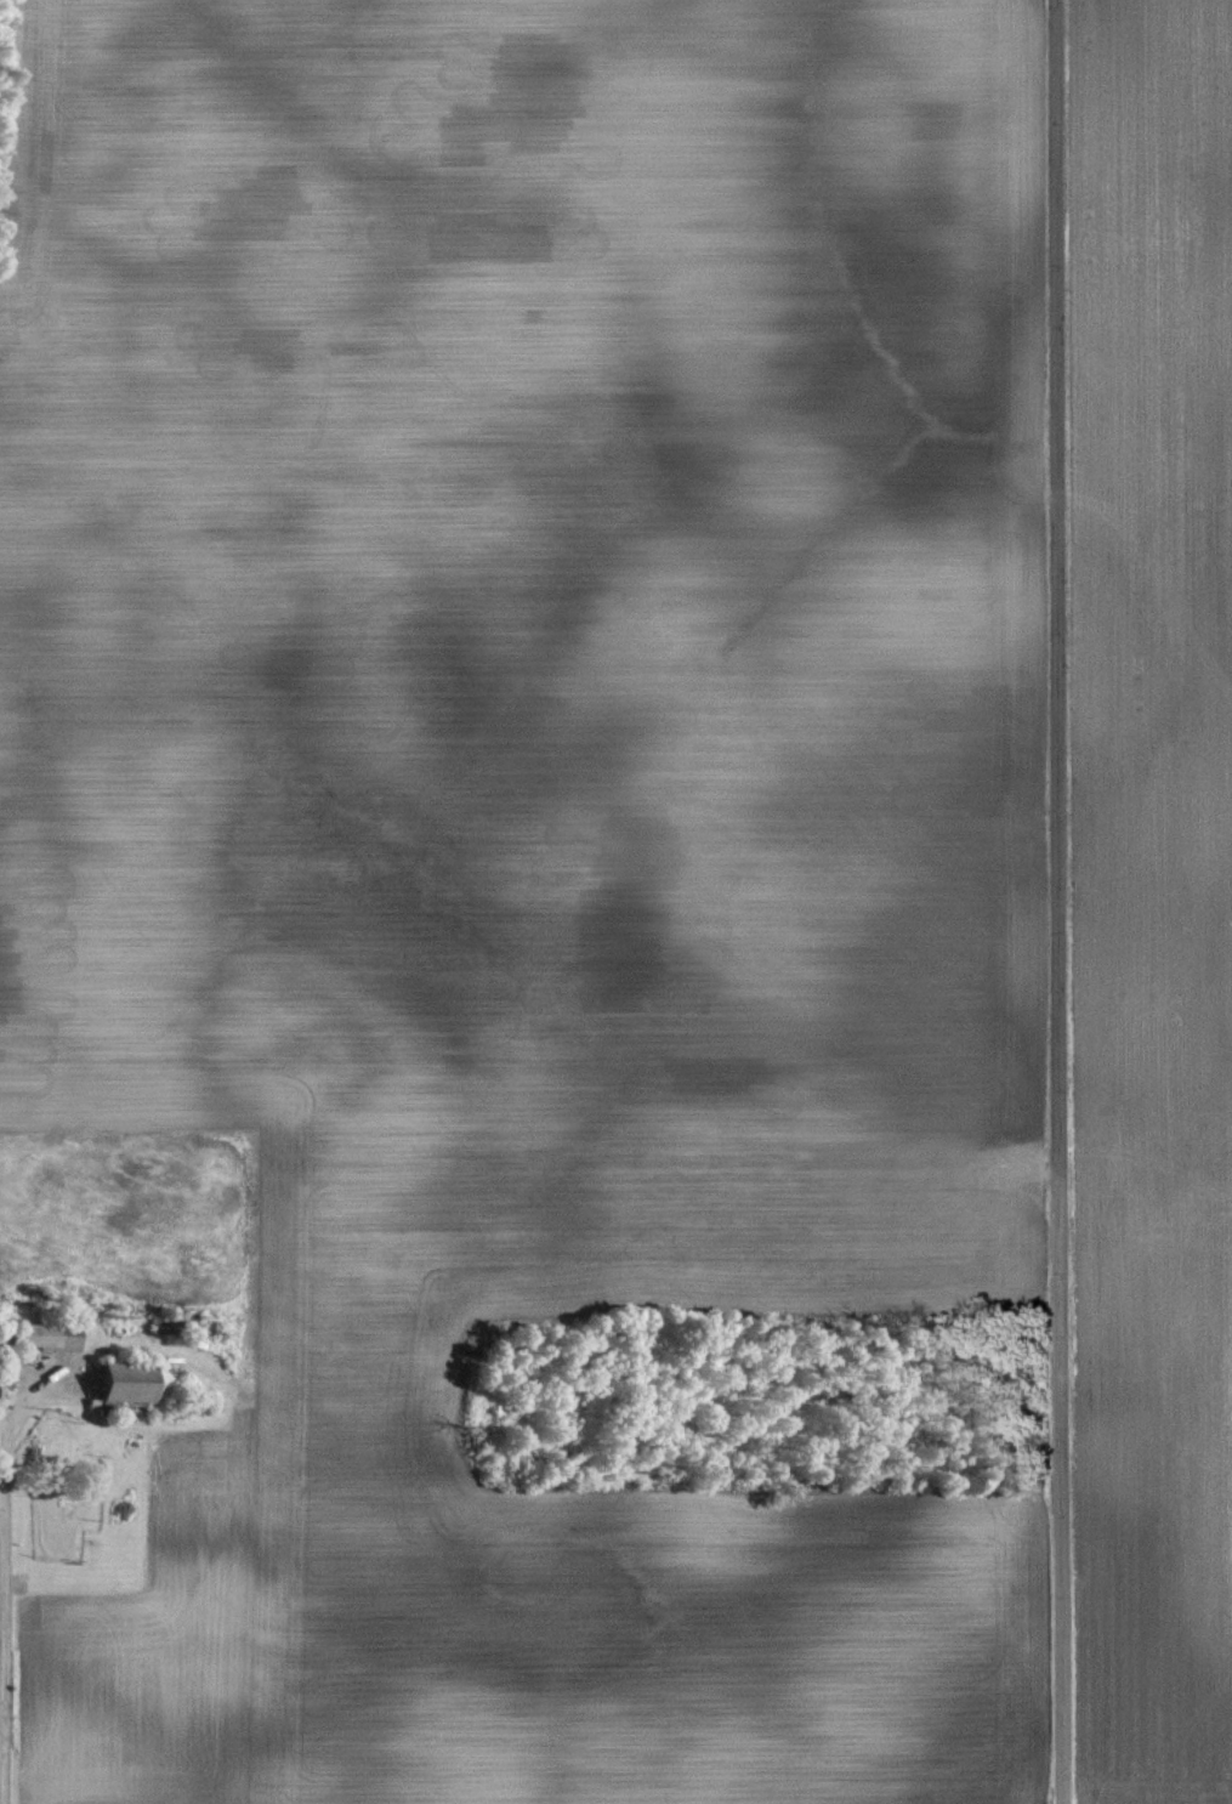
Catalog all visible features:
road: (1052, 901)
building: (29, 1335)
building: (110, 1384)
road: (4, 1435)

